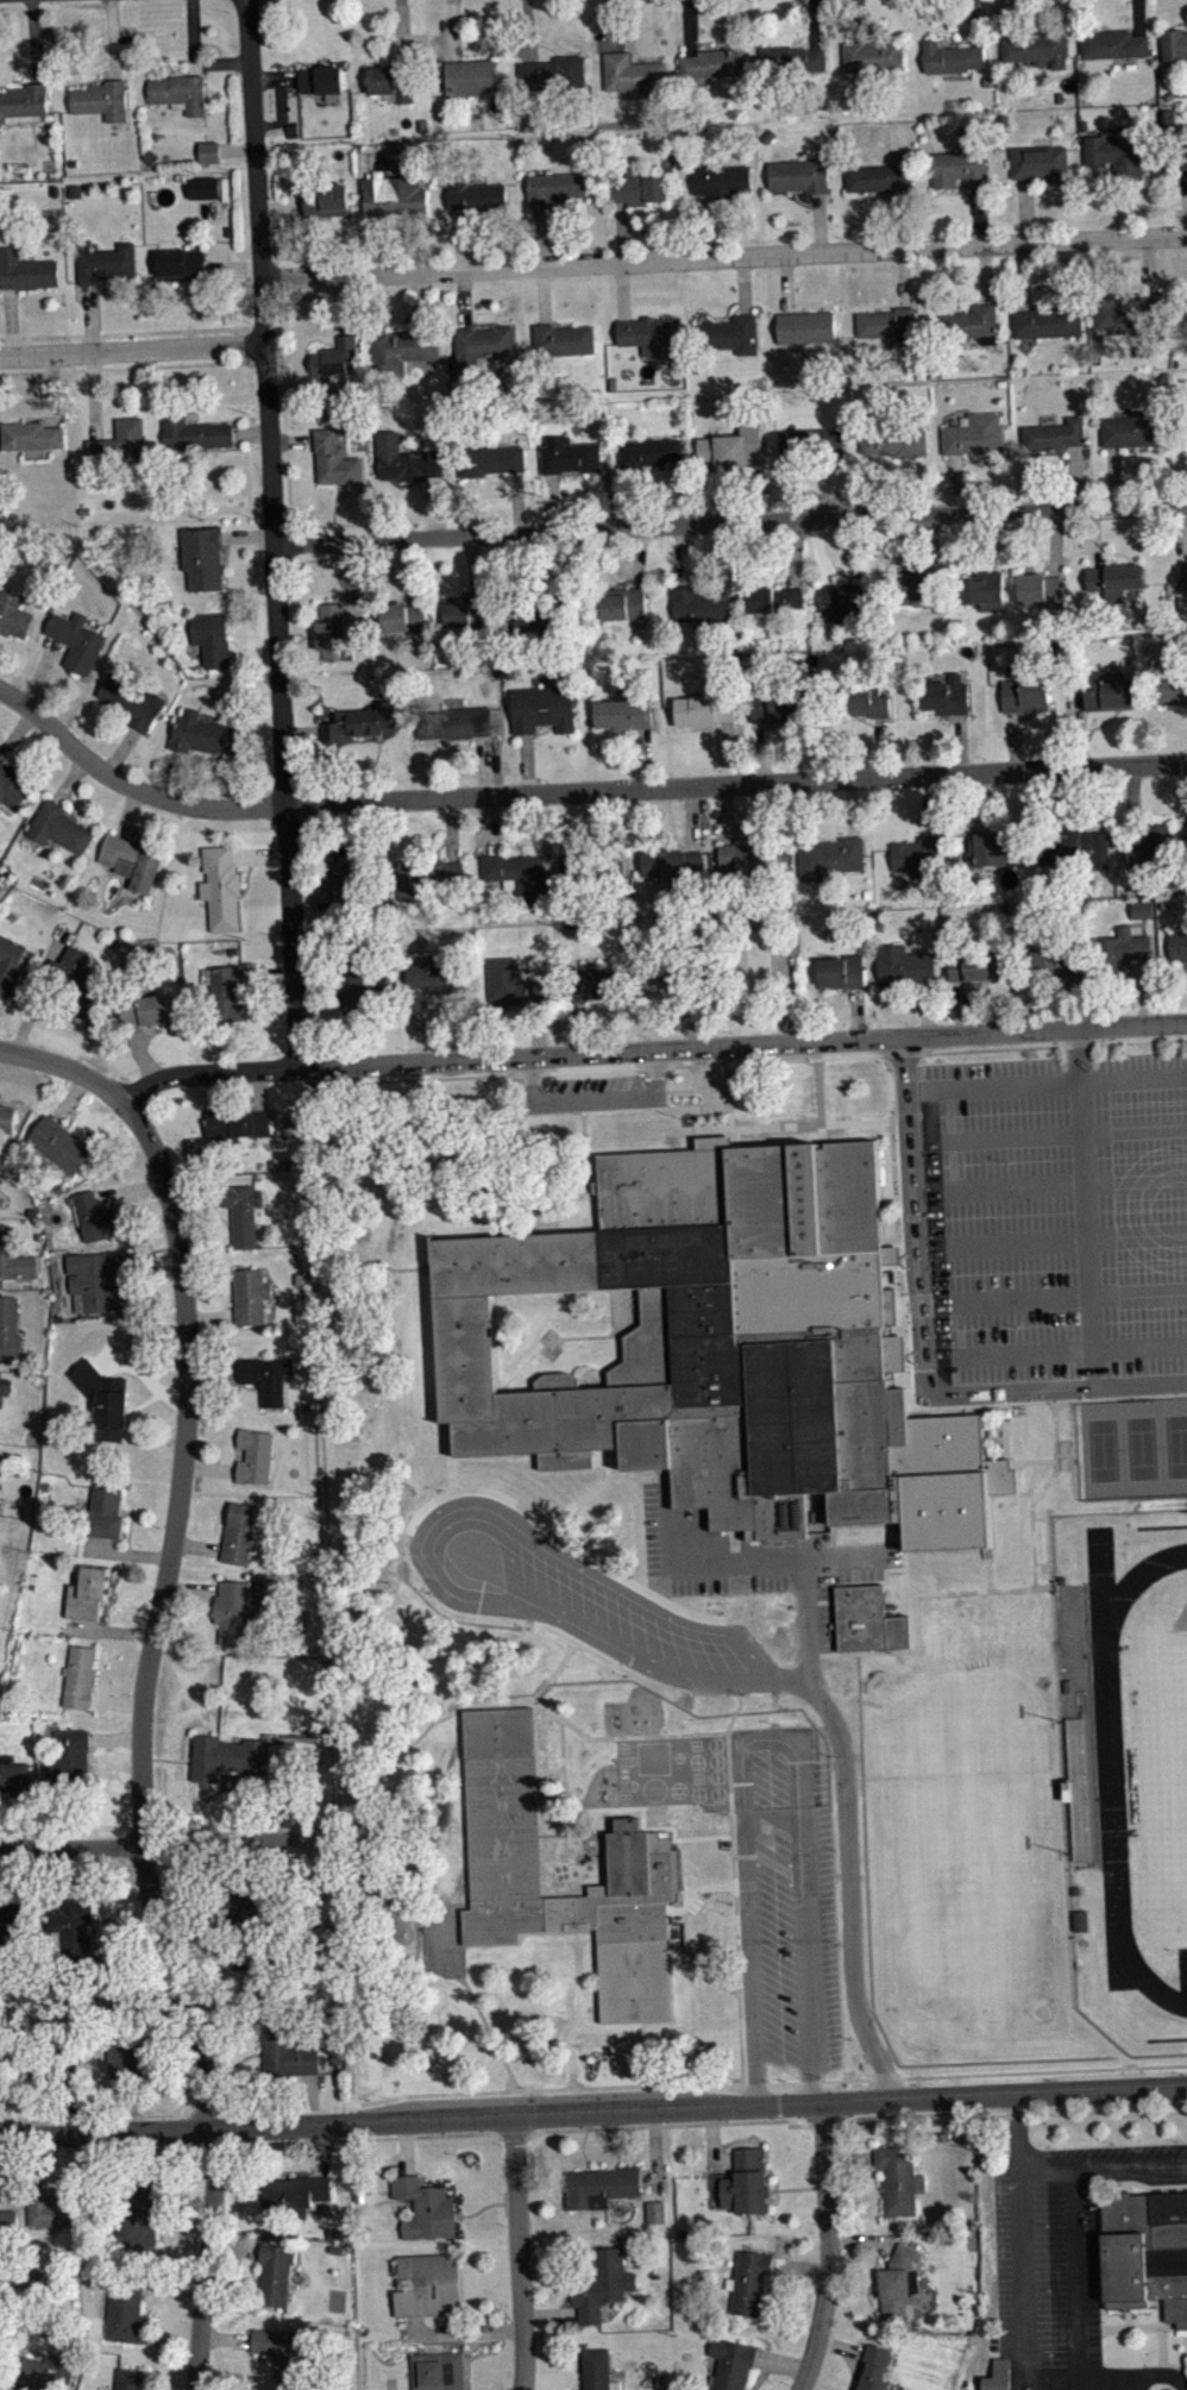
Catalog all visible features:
building: (1112, 44)
building: (1174, 45)
building: (1036, 49)
building: (873, 56)
building: (952, 57)
building: (791, 58)
building: (712, 63)
building: (553, 73)
building: (633, 74)
building: (471, 76)
building: (320, 79)
building: (392, 82)
building: (180, 93)
building: (101, 100)
building: (23, 101)
building: (209, 151)
building: (1116, 153)
building: (1181, 157)
building: (1040, 163)
building: (959, 168)
building: (799, 175)
building: (878, 177)
building: (720, 180)
building: (635, 186)
building: (554, 188)
building: (206, 194)
building: (395, 195)
building: (476, 196)
building: (325, 199)
road: (722, 255)
building: (107, 265)
building: (182, 265)
building: (25, 271)
building: (1128, 313)
building: (1048, 321)
building: (887, 322)
building: (973, 322)
building: (805, 326)
road: (125, 332)
building: (646, 333)
building: (730, 334)
building: (563, 339)
building: (482, 344)
road: (128, 346)
building: (400, 351)
building: (333, 357)
road: (125, 368)
building: (1131, 429)
building: (193, 432)
building: (973, 434)
building: (1054, 434)
building: (31, 435)
building: (894, 441)
building: (810, 445)
building: (119, 446)
building: (733, 446)
building: (648, 452)
building: (569, 456)
building: (334, 459)
building: (404, 459)
building: (489, 460)
road: (729, 522)
road: (271, 532)
building: (202, 557)
building: (1183, 575)
building: (1114, 581)
building: (985, 590)
building: (1041, 590)
building: (915, 591)
building: (774, 600)
building: (843, 600)
building: (623, 603)
building: (701, 603)
building: (465, 610)
building: (13, 614)
building: (404, 617)
building: (540, 620)
building: (332, 631)
building: (212, 638)
building: (76, 641)
building: (1170, 688)
building: (1109, 689)
building: (946, 695)
building: (1025, 695)
building: (132, 701)
building: (865, 701)
building: (780, 704)
building: (542, 708)
building: (708, 709)
building: (622, 714)
building: (358, 721)
building: (453, 721)
building: (206, 734)
building: (12, 786)
road: (574, 792)
building: (59, 827)
building: (1151, 847)
building: (991, 848)
building: (1078, 849)
building: (917, 853)
building: (752, 859)
building: (830, 859)
building: (132, 860)
building: (672, 862)
building: (586, 868)
building: (425, 874)
building: (520, 876)
building: (221, 887)
building: (351, 889)
building: (1142, 909)
building: (1144, 916)
building: (1177, 945)
building: (1120, 949)
building: (752, 960)
building: (10, 962)
building: (1054, 962)
building: (904, 965)
building: (972, 965)
building: (670, 970)
building: (841, 971)
building: (433, 979)
building: (71, 983)
building: (360, 983)
building: (513, 984)
building: (598, 984)
building: (225, 990)
building: (149, 1011)
road: (652, 1048)
road: (746, 1062)
road: (65, 1065)
road: (315, 1074)
road: (1132, 1075)
parking lot: (593, 1092)
road: (593, 1097)
road: (705, 1097)
road: (818, 1100)
road: (582, 1103)
building: (7, 1117)
building: (237, 1123)
road: (760, 1127)
road: (1057, 1133)
building: (59, 1144)
road: (585, 1150)
road: (896, 1177)
road: (1060, 1183)
road: (1085, 1206)
building: (243, 1212)
parking lot: (1054, 1216)
building: (95, 1217)
road: (934, 1223)
road: (1060, 1237)
building: (14, 1256)
road: (373, 1266)
building: (98, 1278)
building: (251, 1294)
road: (1062, 1297)
building: (10, 1329)
road: (919, 1344)
road: (1139, 1345)
building: (727, 1347)
building: (0, 1375)
building: (268, 1376)
building: (5, 1386)
building: (102, 1399)
road: (993, 1403)
park: (1176, 1444)
park: (1142, 1447)
park: (1103, 1449)
building: (256, 1455)
road: (387, 1487)
road: (444, 1494)
building: (0, 1506)
building: (1, 1513)
building: (106, 1513)
building: (239, 1533)
road: (551, 1533)
road: (641, 1579)
building: (1063, 1579)
building: (89, 1591)
road: (328, 1593)
road: (680, 1608)
building: (234, 1612)
building: (867, 1619)
road: (579, 1643)
road: (554, 1670)
building: (80, 1676)
building: (1067, 1685)
road: (662, 1735)
road: (768, 1742)
road: (137, 1744)
building: (69, 1757)
building: (226, 1757)
track: (1119, 1758)
park: (1166, 1773)
building: (14, 1775)
road: (729, 1784)
road: (564, 1798)
road: (327, 1834)
road: (158, 1842)
road: (847, 1842)
building: (504, 1871)
road: (676, 1874)
building: (1076, 1890)
parking lot: (781, 1897)
building: (247, 1906)
building: (11, 1918)
building: (1080, 1919)
building: (74, 1922)
road: (737, 1961)
building: (264, 1976)
road: (604, 2025)
building: (285, 2053)
building: (125, 2058)
building: (58, 2064)
building: (1, 2071)
road: (1042, 2071)
road: (885, 2077)
road: (640, 2085)
road: (460, 2093)
road: (291, 2106)
road: (207, 2108)
road: (529, 2110)
road: (593, 2110)
road: (184, 2114)
road: (998, 2114)
road: (92, 2115)
road: (791, 2125)
road: (232, 2126)
road: (654, 2126)
road: (186, 2132)
road: (513, 2133)
road: (1015, 2134)
road: (441, 2135)
road: (309, 2140)
road: (712, 2143)
road: (209, 2145)
road: (126, 2149)
road: (33, 2152)
road: (655, 2154)
road: (1128, 2168)
road: (1016, 2173)
road: (648, 2176)
building: (898, 2181)
building: (746, 2182)
building: (601, 2185)
building: (296, 2193)
building: (58, 2208)
building: (423, 2209)
building: (655, 2210)
building: (136, 2215)
building: (7, 2220)
road: (862, 2239)
road: (828, 2247)
building: (1145, 2250)
road: (516, 2252)
road: (799, 2266)
parking lot: (1061, 2269)
building: (275, 2272)
building: (750, 2283)
building: (900, 2283)
building: (429, 2284)
building: (603, 2284)
building: (126, 2309)
road: (840, 2344)
building: (284, 2350)
road: (779, 2363)
building: (730, 2364)
building: (874, 2367)
building: (599, 2369)
building: (437, 2371)
building: (45, 2372)
building: (998, 2376)
road: (1131, 2376)
building: (130, 2378)
road: (1073, 2385)

